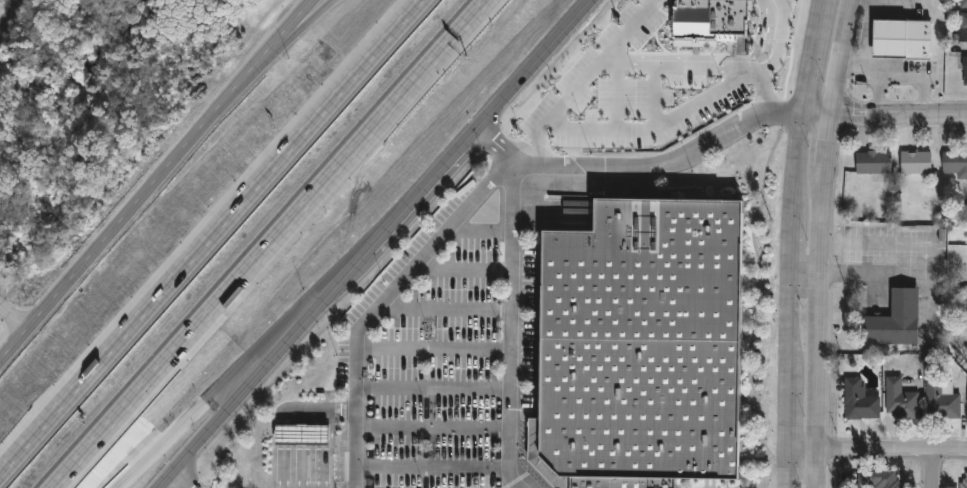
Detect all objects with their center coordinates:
building: (962, 3)
road: (11, 7)
road: (3, 18)
building: (895, 23)
gas station: (895, 23)
building: (925, 23)
building: (962, 28)
road: (626, 32)
road: (776, 41)
road: (865, 44)
road: (278, 48)
road: (813, 56)
road: (838, 56)
road: (634, 66)
building: (964, 68)
road: (911, 76)
road: (879, 94)
road: (884, 115)
road: (657, 126)
road: (825, 143)
building: (871, 161)
building: (914, 161)
building: (954, 162)
road: (797, 164)
road: (640, 166)
road: (154, 178)
road: (479, 228)
road: (213, 236)
road: (792, 243)
road: (270, 244)
road: (374, 244)
road: (462, 266)
road: (805, 269)
road: (876, 273)
road: (379, 301)
road: (444, 306)
road: (13, 317)
building: (894, 317)
road: (790, 323)
road: (512, 324)
road: (818, 329)
building: (642, 342)
road: (434, 346)
parking lot: (441, 354)
road: (433, 385)
road: (222, 395)
building: (858, 399)
building: (898, 399)
building: (940, 399)
road: (831, 403)
road: (327, 407)
road: (787, 412)
road: (433, 427)
building: (301, 432)
gas station: (301, 432)
road: (305, 432)
road: (877, 449)
road: (306, 465)
road: (433, 466)
road: (786, 468)
road: (930, 469)
building: (878, 478)
road: (182, 479)
building: (963, 479)

